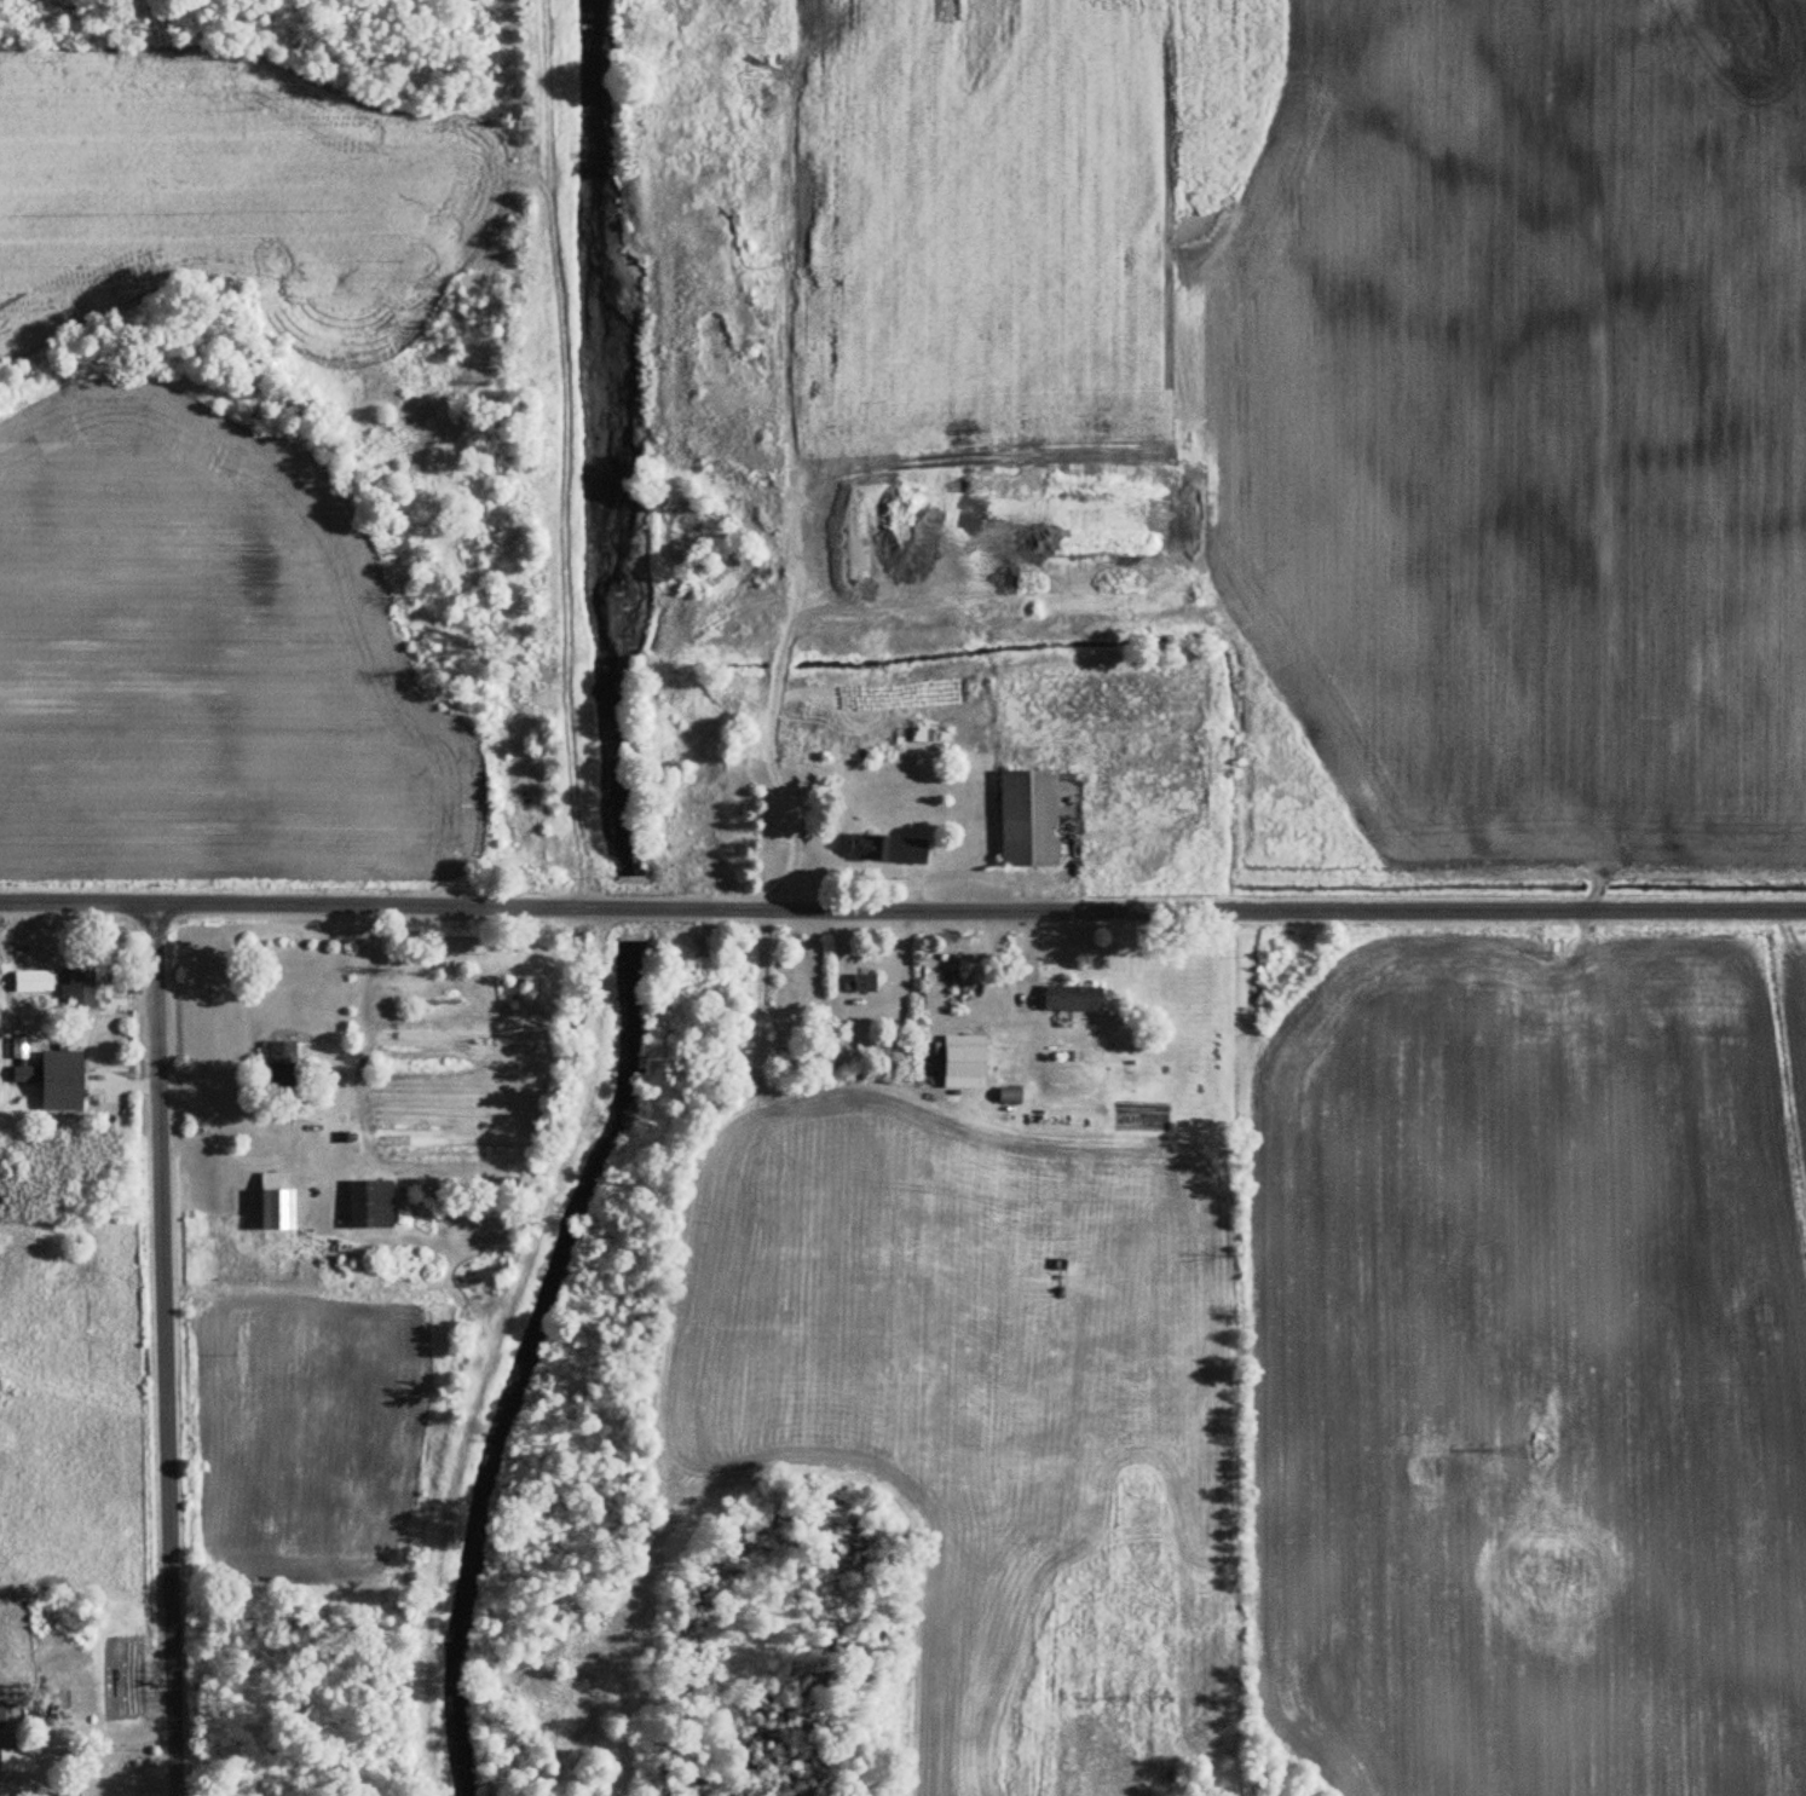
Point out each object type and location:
road: (769, 747)
building: (1031, 816)
building: (889, 848)
road: (902, 903)
building: (866, 982)
building: (82, 986)
building: (1074, 998)
building: (284, 1067)
building: (63, 1080)
building: (1011, 1096)
building: (279, 1200)
building: (373, 1203)
road: (162, 1350)
power tower: (1541, 1448)
power tower: (1164, 1697)
building: (2, 1715)
building: (17, 1760)
building: (69, 1794)

